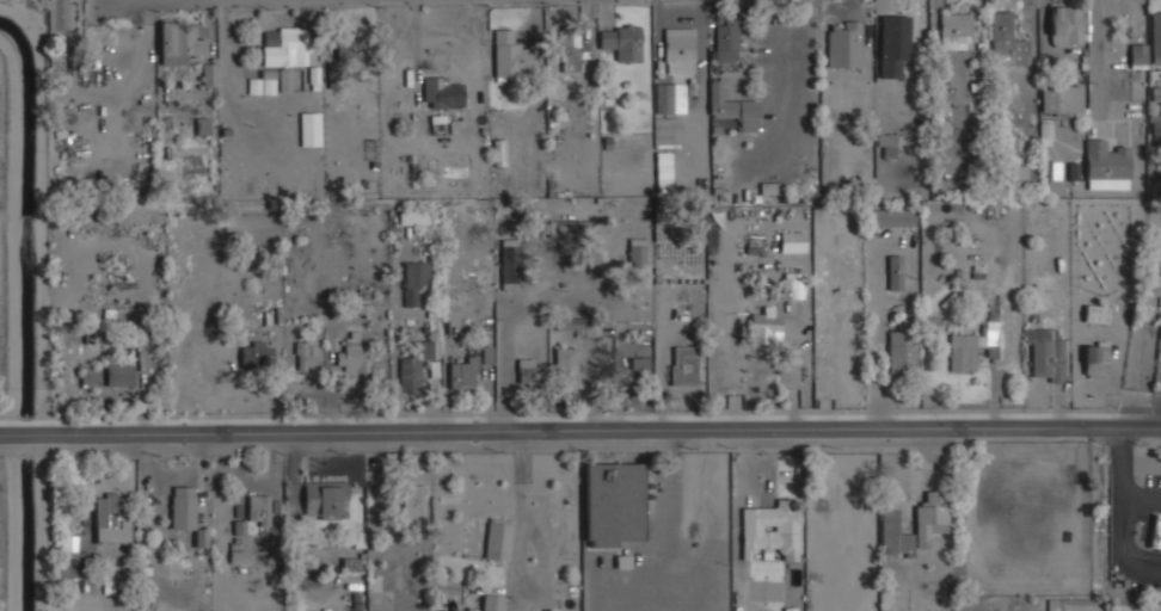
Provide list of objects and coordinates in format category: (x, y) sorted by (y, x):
road: (180, 1)
building: (60, 16)
building: (1067, 25)
building: (957, 31)
building: (1155, 37)
building: (1007, 41)
building: (182, 42)
building: (625, 42)
building: (726, 42)
building: (846, 44)
building: (895, 45)
building: (285, 47)
building: (572, 50)
building: (680, 50)
building: (351, 51)
road: (1099, 54)
building: (1137, 54)
building: (512, 55)
building: (57, 63)
building: (209, 75)
building: (285, 80)
building: (262, 86)
building: (442, 92)
building: (1156, 95)
building: (665, 98)
building: (1062, 99)
building: (733, 109)
building: (944, 116)
building: (201, 125)
building: (301, 129)
building: (1156, 130)
building: (887, 143)
building: (1105, 166)
building: (1051, 169)
building: (664, 171)
building: (1074, 171)
building: (1022, 175)
building: (413, 216)
building: (891, 218)
building: (572, 228)
building: (638, 253)
building: (510, 264)
building: (896, 272)
building: (416, 280)
building: (791, 285)
building: (1096, 313)
building: (762, 326)
road: (1009, 333)
road: (874, 339)
building: (965, 351)
building: (257, 353)
building: (902, 353)
building: (306, 354)
building: (1046, 354)
building: (352, 356)
building: (1095, 359)
building: (684, 365)
building: (414, 366)
building: (567, 368)
building: (640, 369)
building: (528, 371)
building: (463, 374)
building: (106, 375)
road: (579, 428)
building: (74, 475)
building: (325, 499)
building: (413, 504)
building: (614, 504)
building: (183, 507)
building: (254, 514)
building: (930, 517)
building: (112, 518)
building: (770, 530)
building: (896, 532)
building: (1156, 533)
building: (498, 538)
building: (239, 556)
building: (492, 603)
building: (468, 610)
building: (793, 610)

